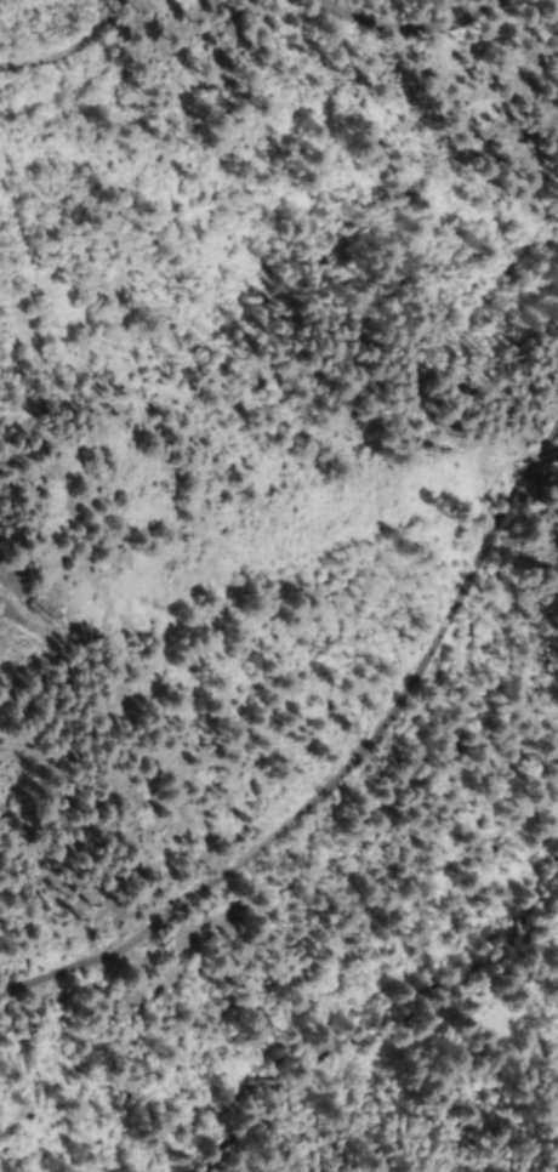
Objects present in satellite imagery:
road: (342, 764)

